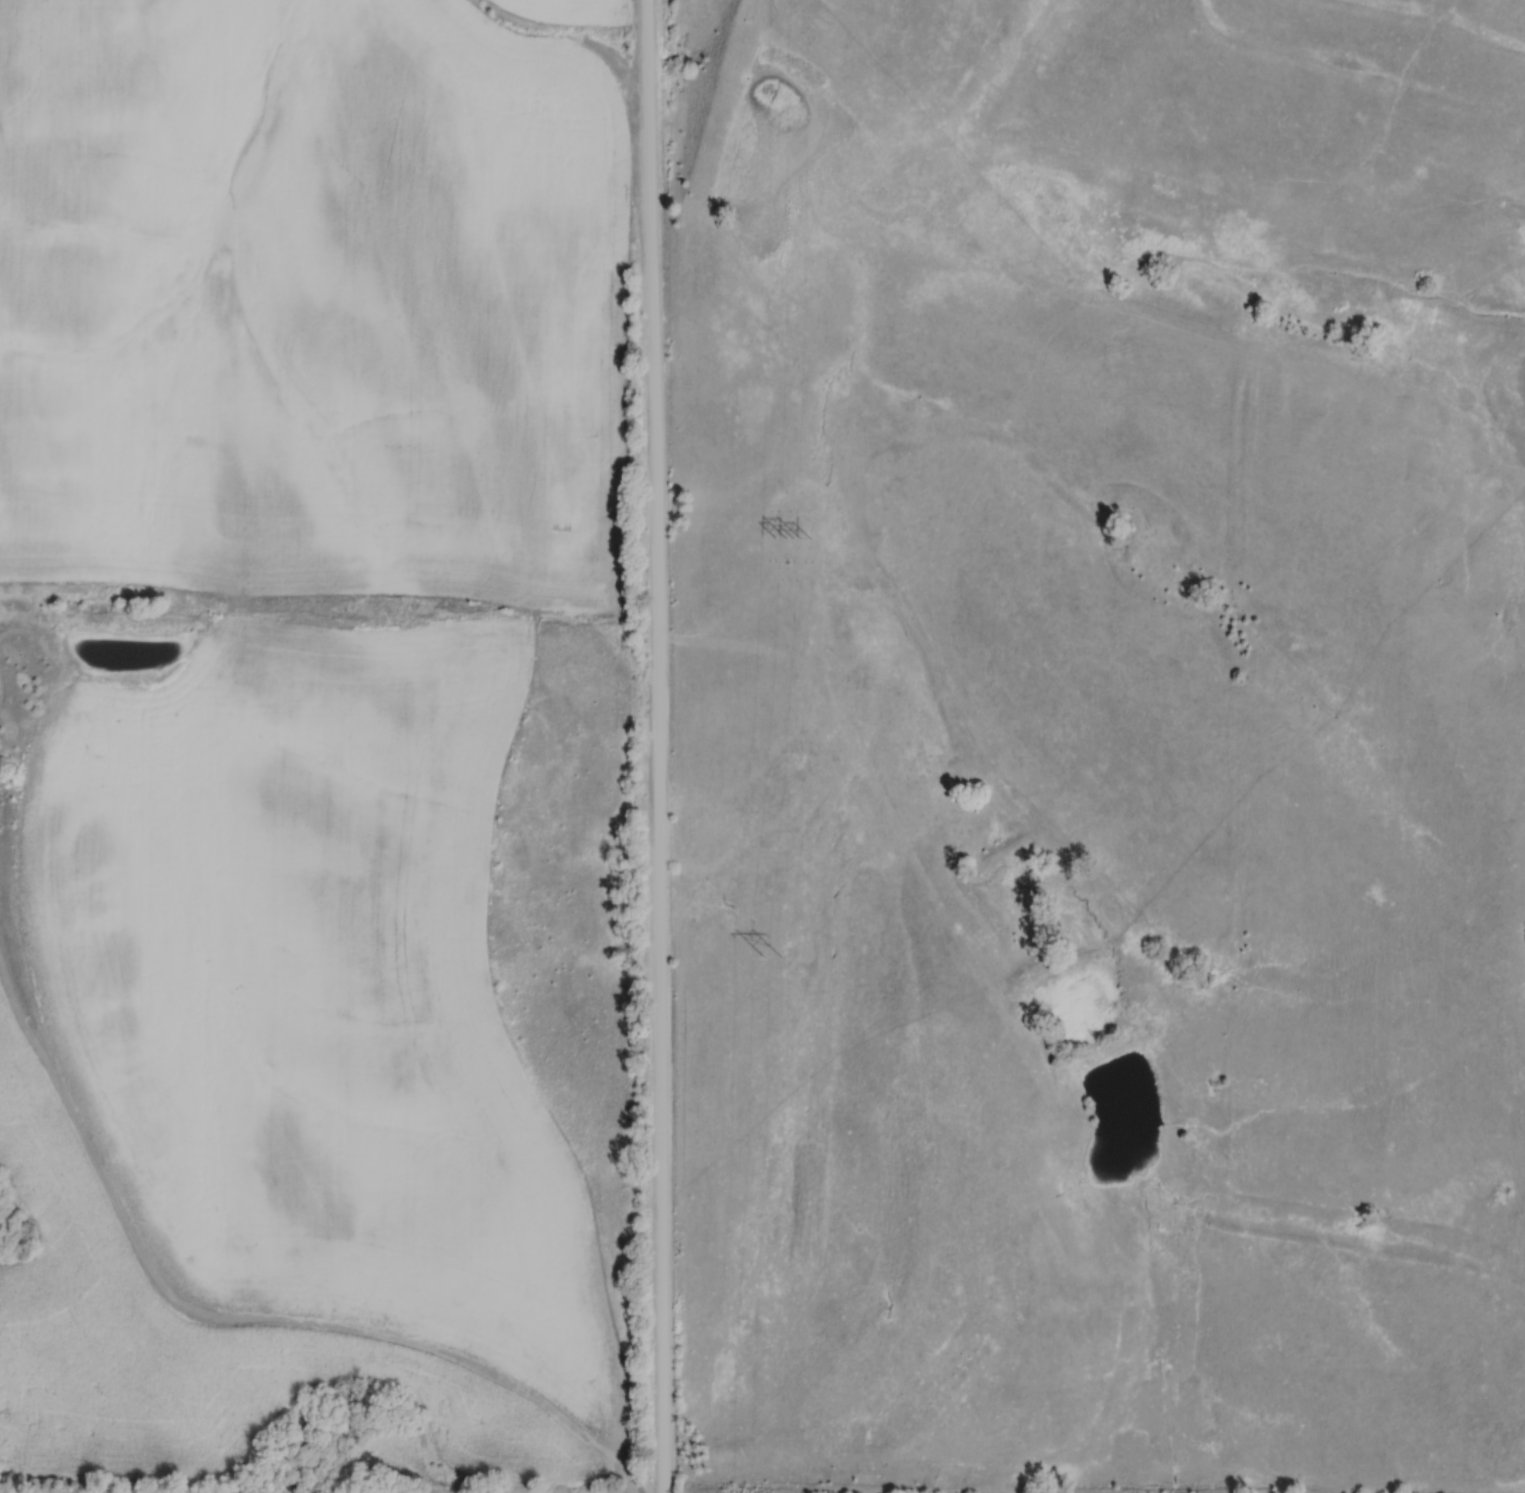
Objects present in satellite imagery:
dam: (723, 104)
power tower: (799, 539)
road: (659, 746)
power tower: (772, 1183)

